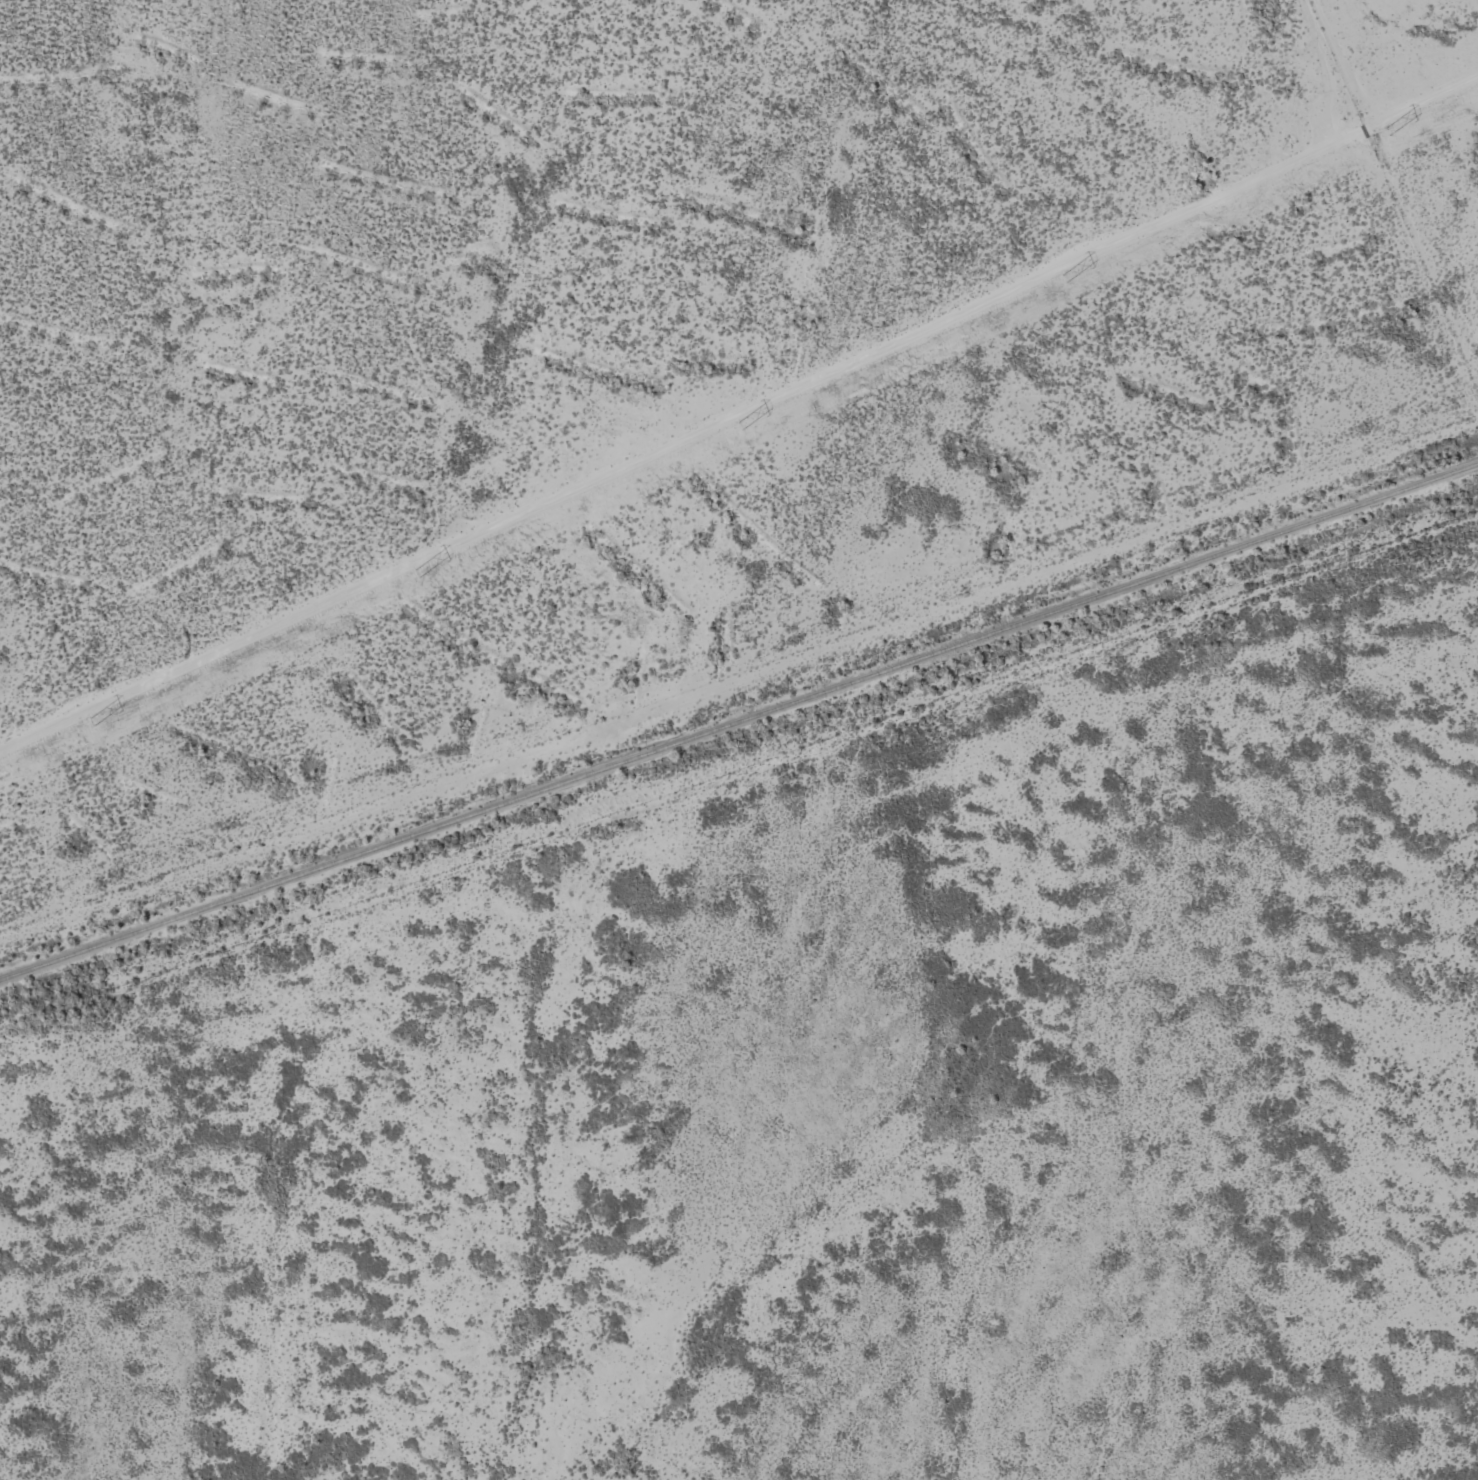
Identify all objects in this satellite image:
power tower: (1387, 132)
power tower: (1064, 279)
power tower: (739, 427)
power tower: (416, 574)
road: (750, 640)
power tower: (91, 722)
railway: (739, 722)
road: (739, 821)
road: (1066, 1214)

